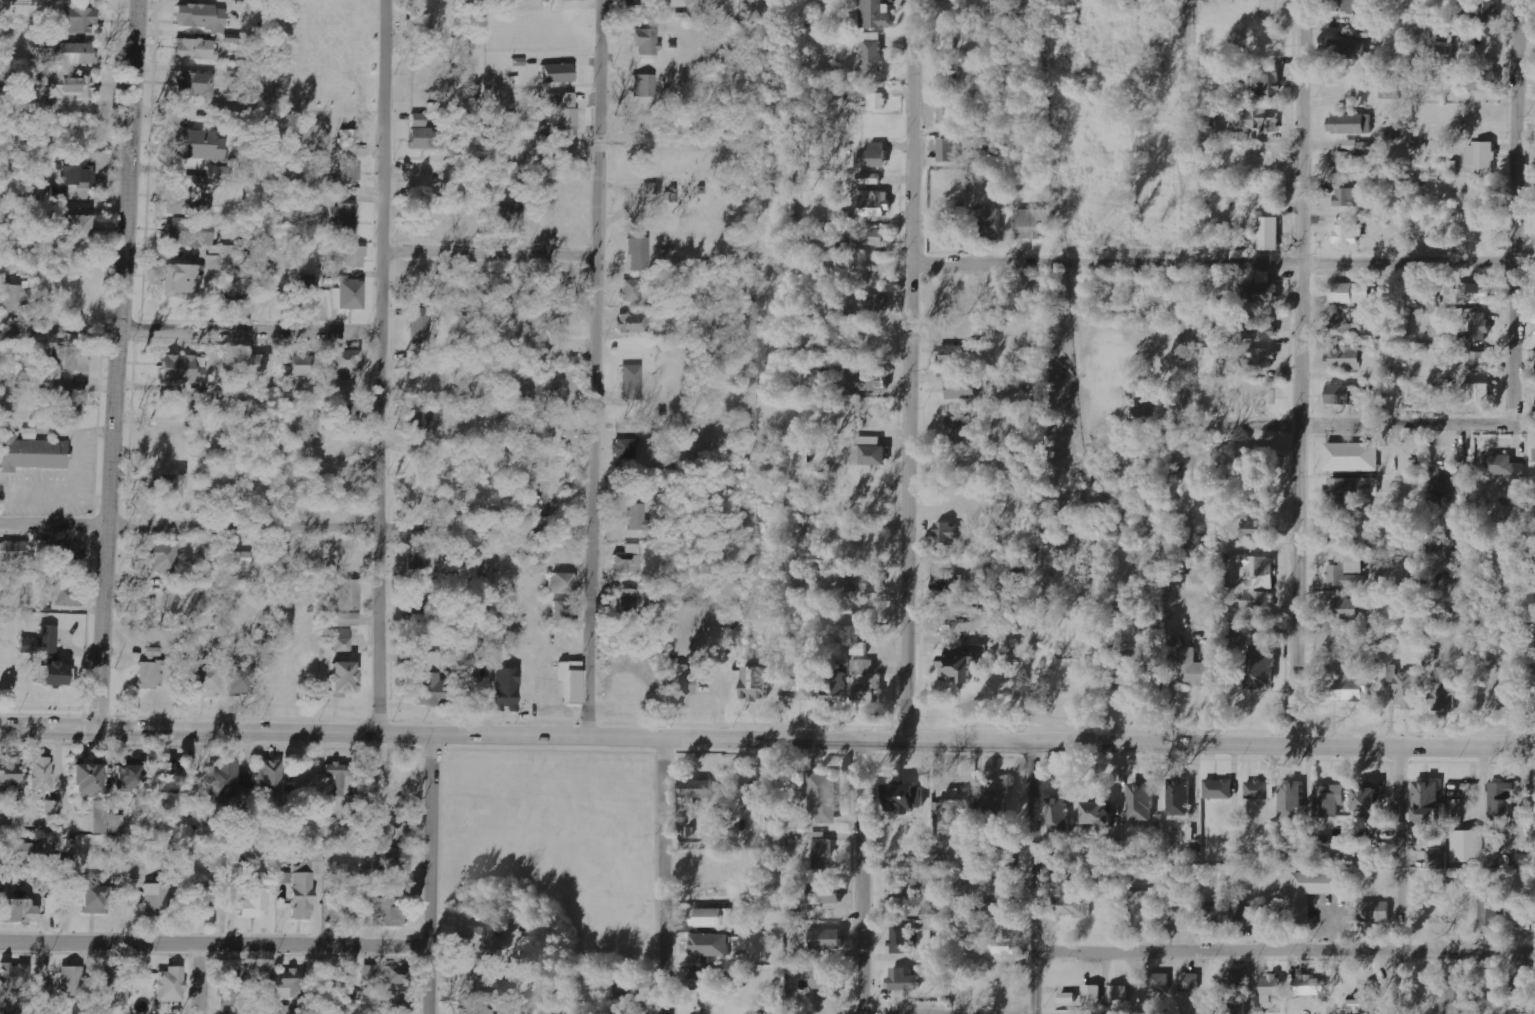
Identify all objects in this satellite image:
building: (576, 0)
building: (635, 2)
building: (1346, 6)
building: (1488, 8)
building: (874, 14)
building: (200, 17)
building: (81, 21)
building: (418, 27)
building: (948, 39)
building: (647, 42)
building: (196, 49)
building: (1350, 49)
building: (873, 50)
building: (1444, 52)
building: (76, 54)
building: (948, 71)
building: (558, 74)
building: (1268, 81)
building: (1485, 81)
building: (195, 85)
building: (644, 86)
building: (65, 87)
building: (1395, 89)
building: (877, 101)
building: (225, 112)
building: (564, 113)
building: (950, 113)
building: (1258, 120)
building: (529, 121)
building: (1350, 124)
building: (425, 135)
building: (348, 139)
building: (198, 145)
building: (949, 150)
building: (874, 155)
building: (1351, 156)
building: (1482, 158)
building: (1453, 167)
building: (77, 172)
building: (345, 173)
building: (219, 174)
road: (1514, 178)
building: (1001, 185)
building: (649, 189)
building: (59, 195)
building: (1346, 197)
building: (189, 198)
road: (1183, 198)
building: (875, 203)
building: (512, 215)
building: (343, 217)
building: (1031, 223)
building: (190, 233)
building: (1348, 233)
building: (871, 237)
building: (947, 237)
road: (489, 254)
building: (639, 254)
building: (356, 257)
road: (1212, 259)
building: (182, 280)
building: (234, 291)
building: (631, 291)
building: (1350, 293)
building: (1476, 293)
building: (308, 295)
building: (349, 296)
building: (13, 299)
building: (872, 301)
building: (634, 324)
building: (420, 326)
building: (1478, 326)
building: (1342, 327)
building: (1261, 328)
road: (189, 330)
building: (957, 355)
building: (1353, 358)
building: (1260, 359)
building: (71, 360)
building: (1479, 360)
building: (1215, 362)
road: (115, 364)
building: (255, 364)
building: (301, 365)
building: (344, 365)
road: (380, 366)
road: (594, 368)
building: (183, 369)
road: (909, 370)
road: (1299, 372)
building: (873, 381)
building: (632, 383)
building: (962, 388)
building: (1476, 393)
building: (1346, 394)
building: (69, 404)
building: (1143, 412)
building: (349, 418)
building: (426, 419)
road: (1369, 422)
building: (959, 429)
building: (626, 450)
building: (871, 451)
building: (801, 452)
building: (32, 455)
building: (1534, 455)
building: (1353, 456)
building: (1499, 464)
building: (1444, 481)
building: (169, 487)
building: (1352, 488)
building: (636, 517)
road: (295, 528)
building: (1257, 529)
building: (946, 533)
building: (61, 553)
building: (12, 555)
building: (161, 558)
building: (421, 559)
building: (240, 561)
building: (628, 561)
building: (1260, 572)
building: (1347, 572)
building: (947, 582)
building: (563, 583)
building: (863, 583)
building: (1010, 585)
building: (350, 595)
building: (67, 596)
building: (629, 600)
building: (1257, 600)
building: (419, 606)
building: (1348, 609)
building: (565, 611)
building: (951, 611)
building: (348, 620)
building: (341, 639)
building: (860, 649)
building: (959, 651)
building: (48, 656)
building: (431, 662)
building: (864, 667)
building: (963, 669)
building: (1197, 670)
building: (1263, 670)
building: (1392, 673)
building: (150, 674)
building: (344, 679)
building: (204, 681)
building: (240, 681)
building: (681, 681)
building: (572, 682)
building: (1342, 682)
building: (757, 683)
building: (799, 683)
building: (835, 686)
building: (428, 690)
building: (507, 690)
building: (869, 690)
building: (1408, 690)
building: (1443, 690)
building: (475, 692)
building: (1533, 694)
road: (767, 739)
building: (41, 774)
building: (128, 775)
building: (9, 776)
building: (87, 778)
building: (169, 778)
building: (269, 778)
building: (337, 778)
building: (222, 780)
building: (1219, 789)
building: (698, 790)
building: (1260, 790)
building: (753, 796)
building: (825, 797)
building: (907, 798)
building: (1180, 799)
building: (1503, 799)
building: (997, 800)
building: (1368, 800)
building: (1292, 801)
building: (1329, 801)
building: (1142, 802)
building: (1428, 803)
building: (52, 807)
building: (939, 808)
building: (1100, 814)
building: (106, 819)
building: (392, 827)
building: (779, 840)
building: (1469, 846)
building: (824, 852)
building: (20, 853)
building: (392, 858)
building: (1437, 859)
building: (1525, 860)
road: (428, 874)
road: (670, 876)
road: (861, 877)
road: (1029, 878)
road: (1396, 880)
building: (1061, 882)
building: (1004, 885)
building: (1315, 888)
building: (908, 890)
building: (827, 893)
building: (302, 895)
building: (202, 898)
building: (93, 899)
building: (156, 900)
building: (255, 904)
building: (1072, 905)
building: (51, 906)
building: (1143, 906)
building: (1489, 909)
building: (20, 910)
building: (1000, 910)
building: (386, 911)
building: (1375, 911)
building: (1241, 912)
building: (1271, 912)
building: (1211, 914)
building: (711, 917)
building: (1521, 919)
building: (924, 926)
building: (825, 938)
building: (902, 938)
building: (485, 939)
building: (740, 943)
building: (711, 944)
road: (213, 946)
building: (1004, 946)
road: (1282, 951)
building: (46, 973)
building: (371, 973)
building: (394, 975)
building: (13, 976)
building: (709, 978)
building: (1238, 978)
building: (821, 979)
building: (904, 979)
road: (193, 980)
building: (1189, 981)
building: (1160, 982)
road: (1250, 982)
building: (71, 983)
building: (290, 983)
building: (171, 984)
building: (113, 986)
building: (234, 986)
building: (1311, 986)
building: (626, 987)
building: (472, 989)
building: (1522, 989)
building: (1093, 993)
building: (1118, 993)
building: (1269, 993)
building: (1456, 995)
building: (1068, 997)
building: (1366, 999)
building: (396, 1005)
building: (1234, 1007)
building: (14, 1008)
building: (474, 1010)
building: (625, 1010)
road: (947, 1011)

